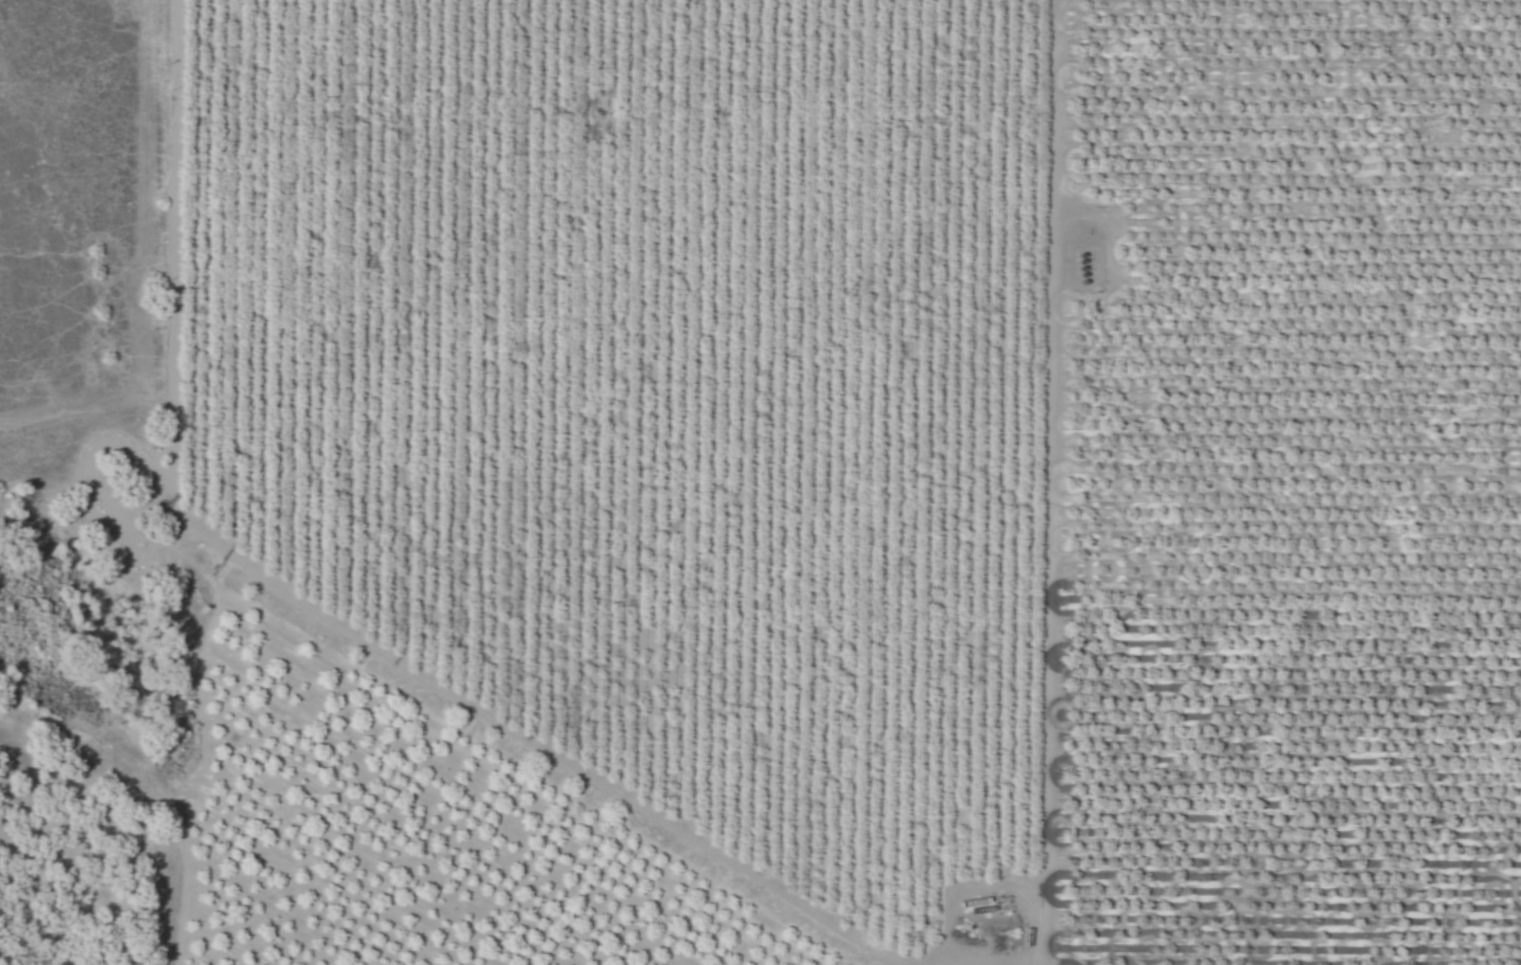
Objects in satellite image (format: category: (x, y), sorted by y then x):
road: (1051, 482)

